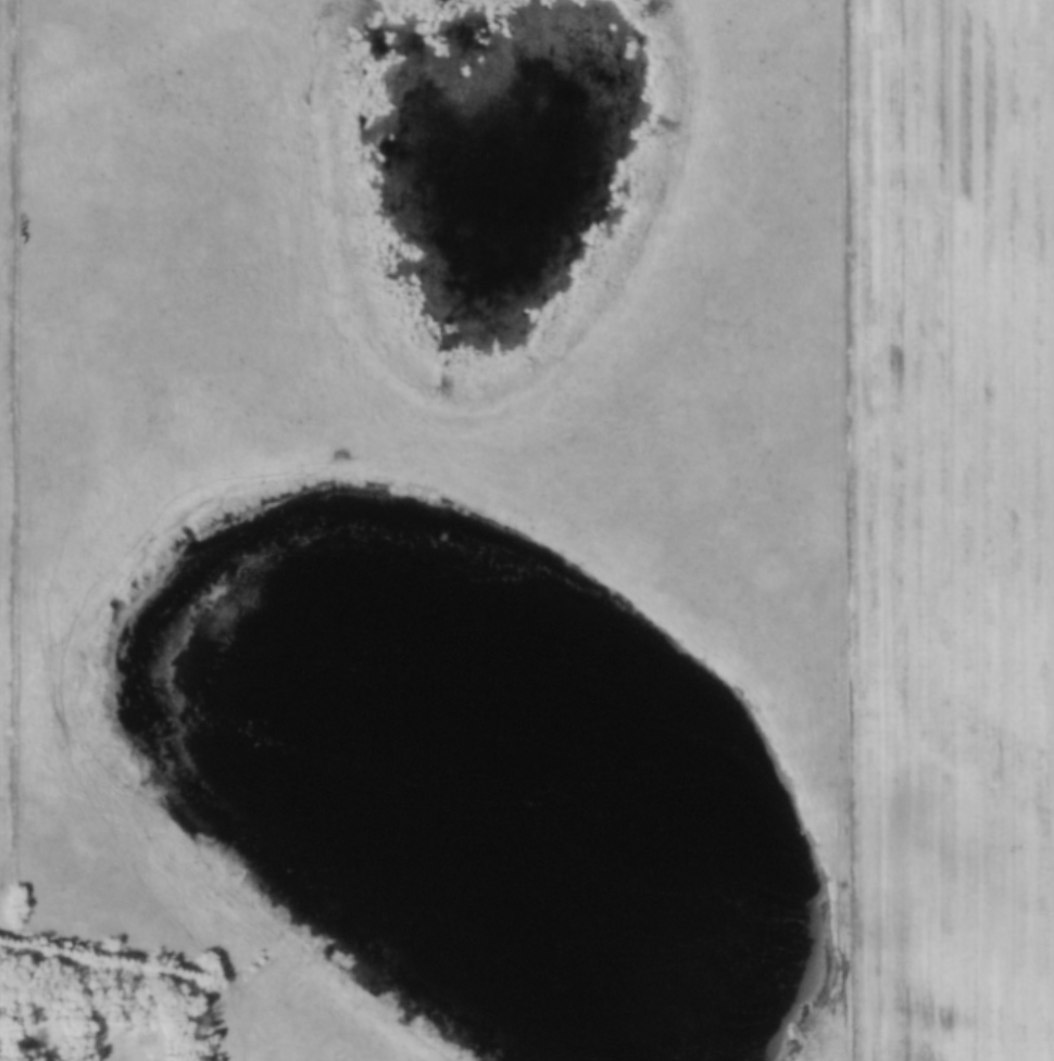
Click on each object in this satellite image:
building: (35, 1059)

